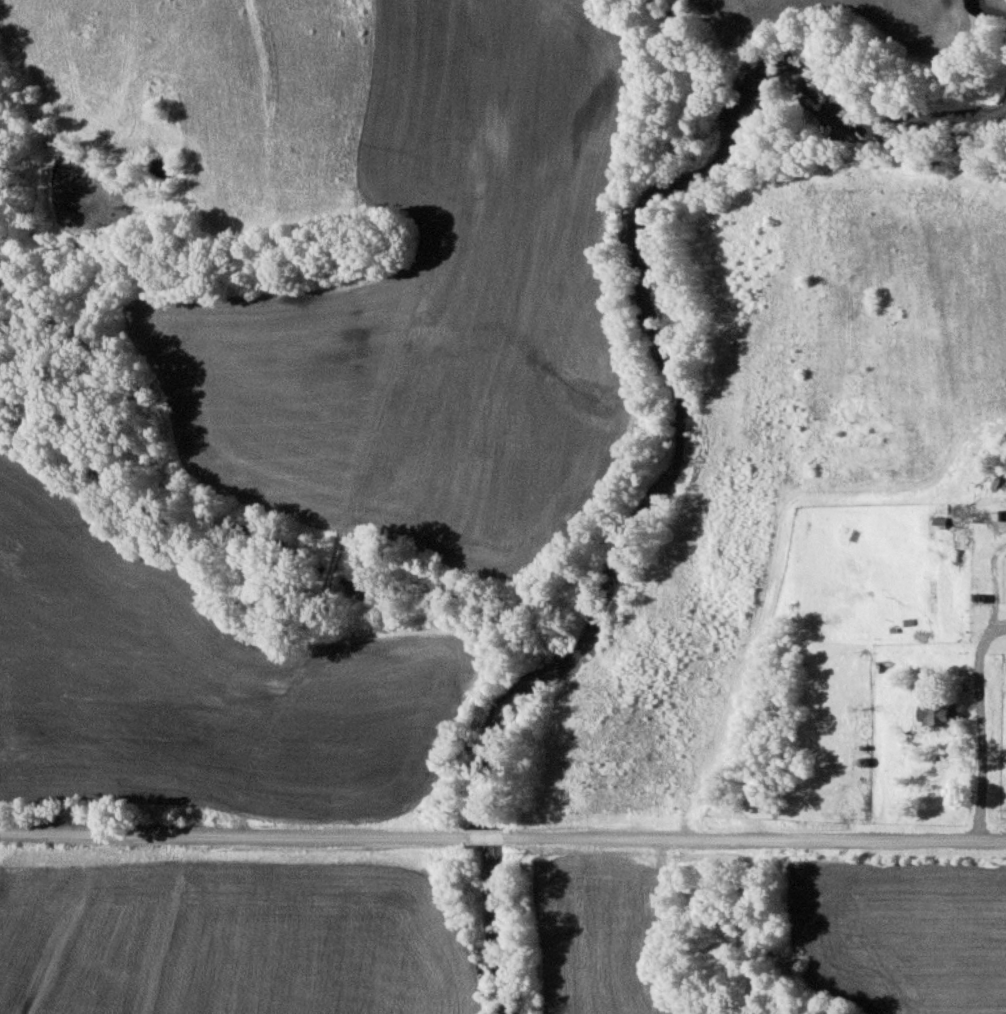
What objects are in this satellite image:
building: (996, 487)
building: (937, 519)
building: (933, 712)
road: (230, 830)
road: (481, 833)
road: (753, 835)

